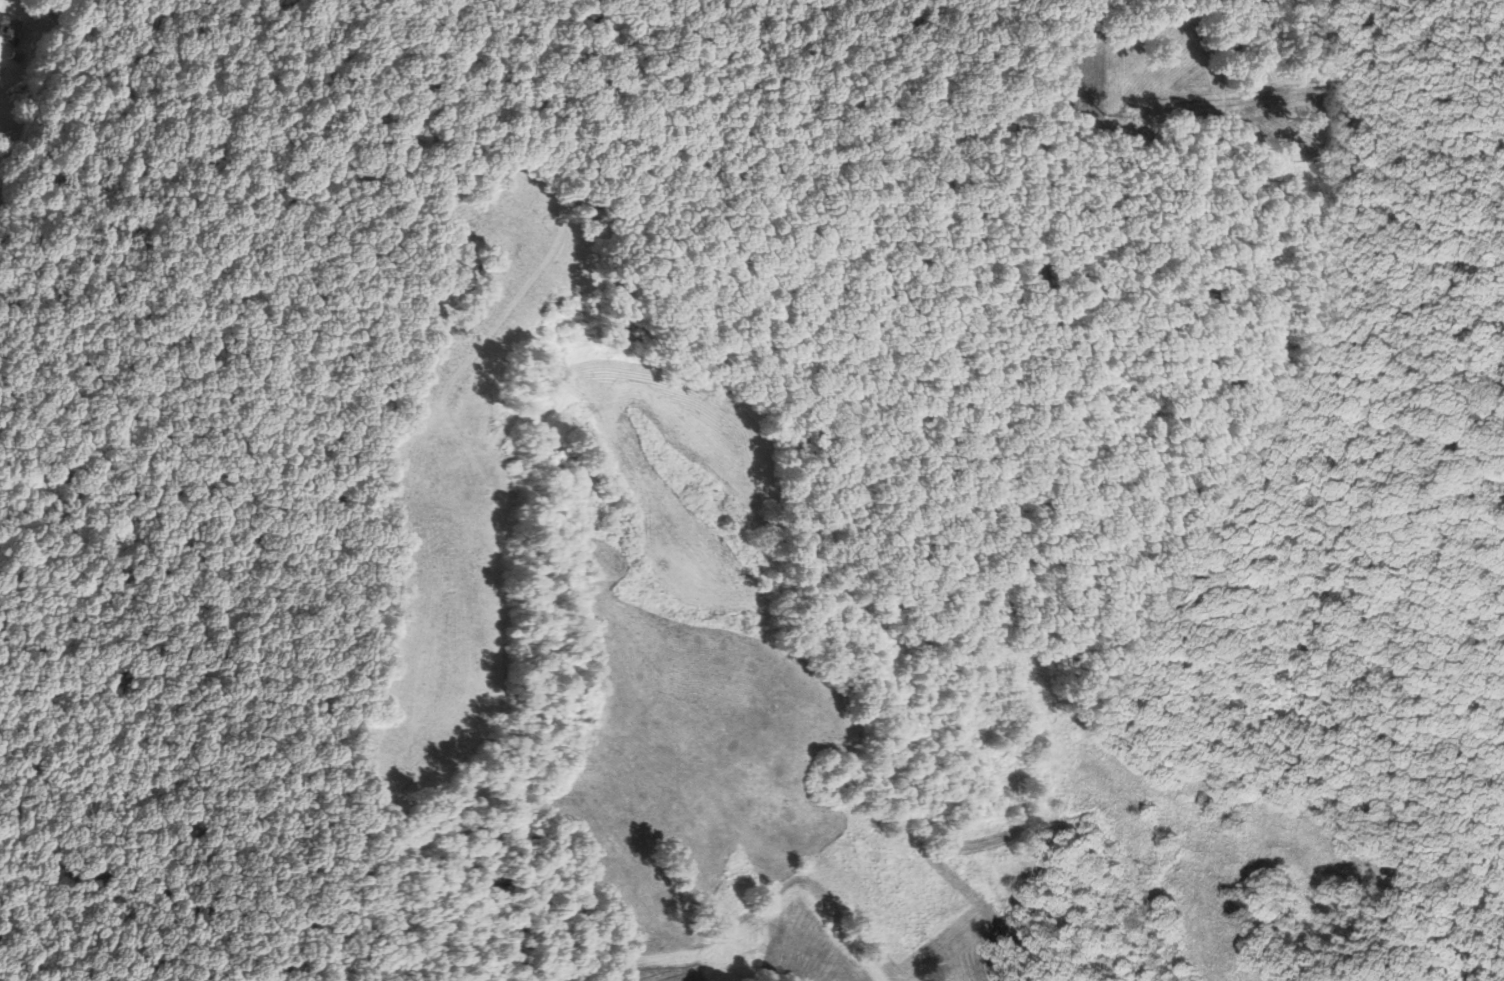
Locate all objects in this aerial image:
building: (11, 28)

